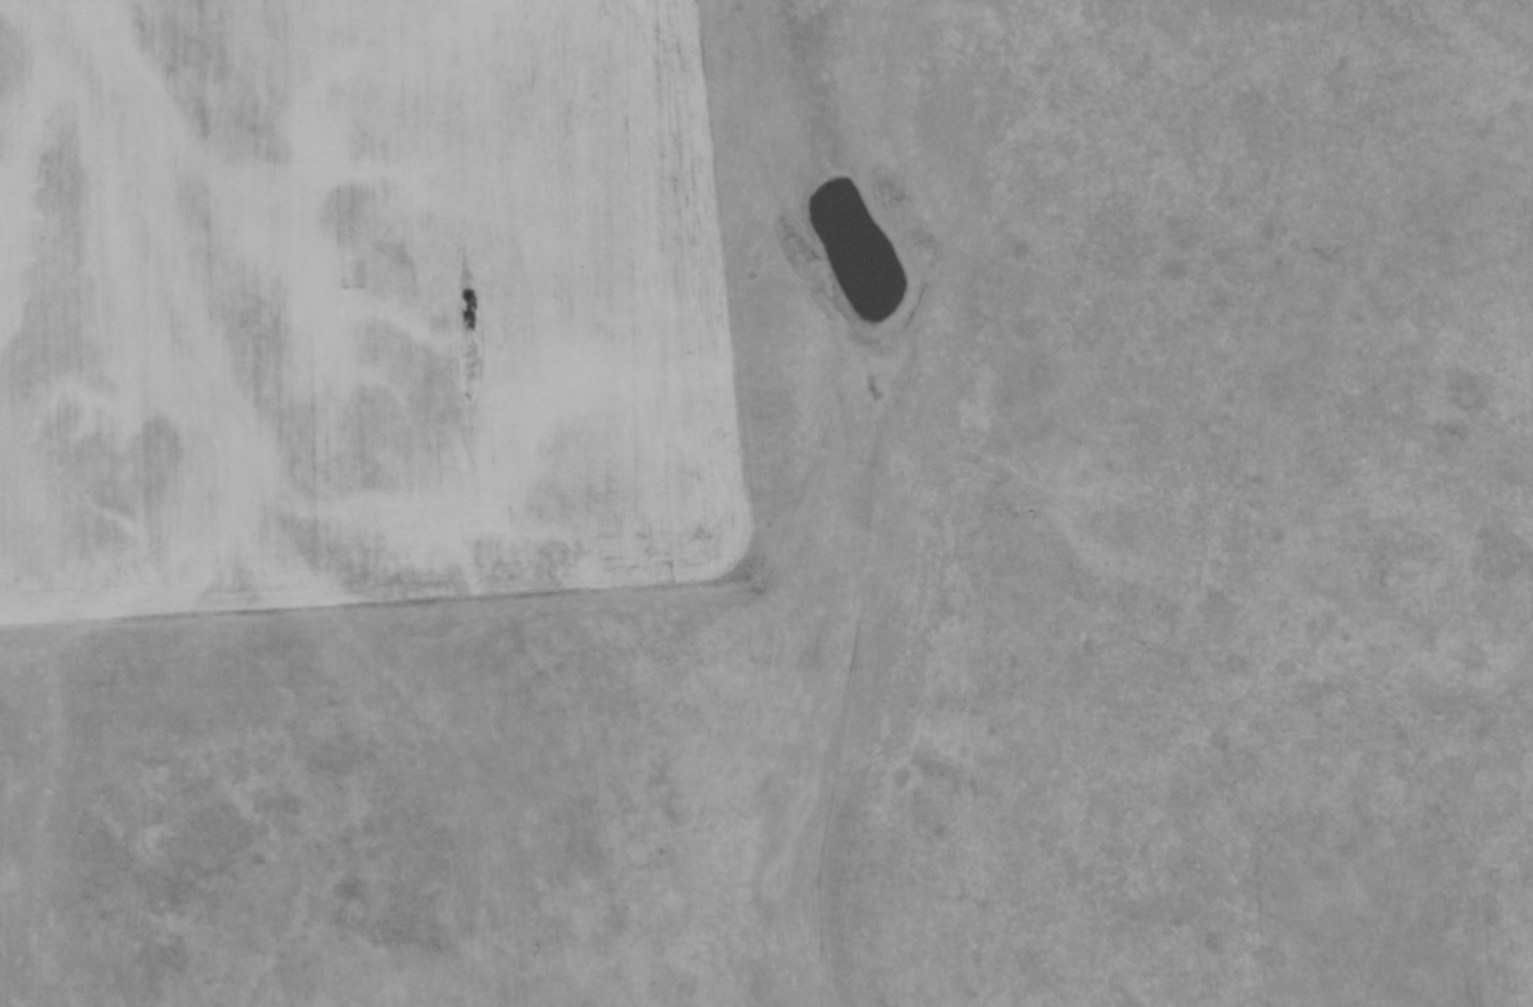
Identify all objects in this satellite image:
road: (904, 74)

